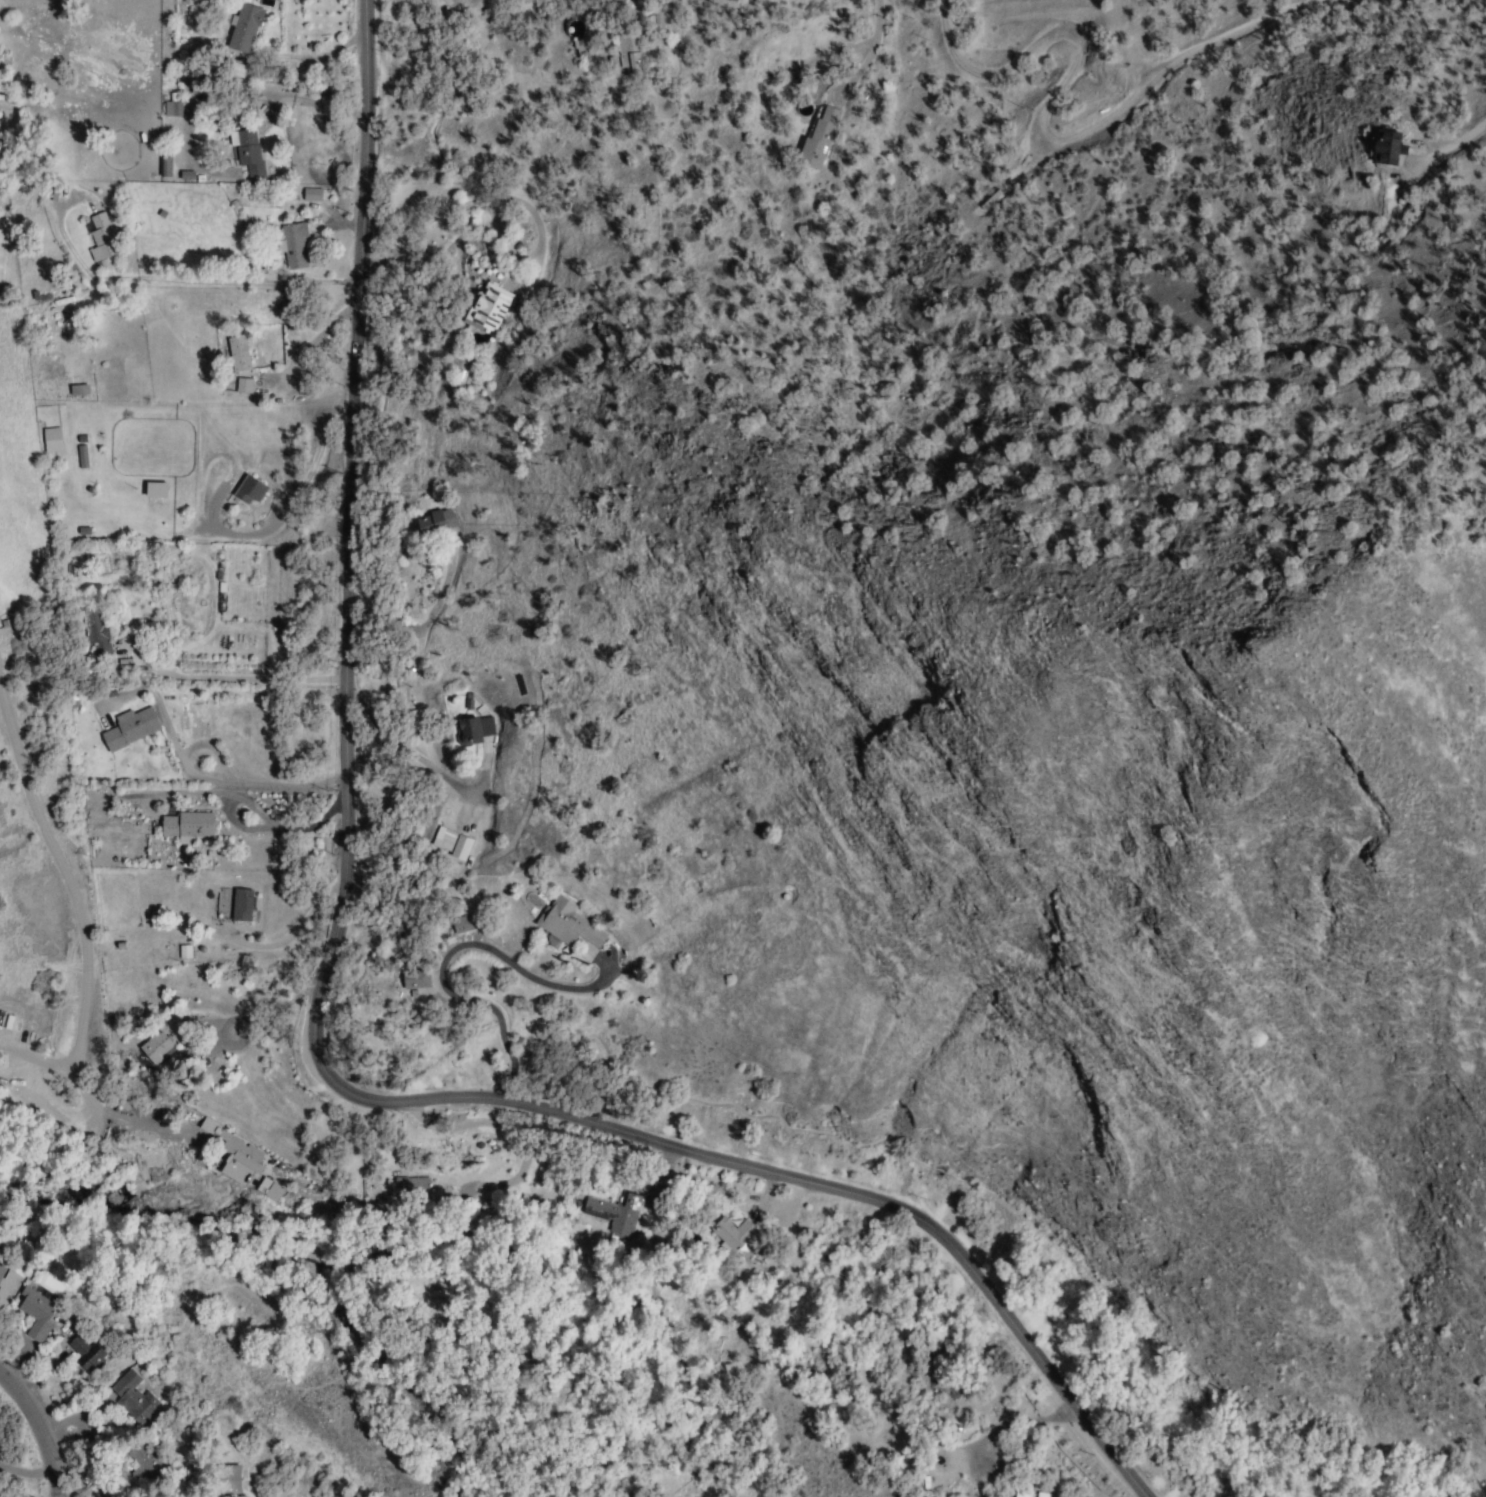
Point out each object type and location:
building: (240, 30)
park: (943, 45)
building: (579, 48)
building: (627, 56)
building: (169, 109)
road: (1072, 136)
road: (1463, 139)
building: (817, 140)
building: (1385, 149)
building: (243, 154)
building: (160, 167)
building: (184, 176)
building: (198, 178)
building: (311, 195)
building: (88, 204)
building: (160, 214)
building: (99, 239)
building: (288, 242)
building: (98, 268)
building: (487, 307)
building: (229, 352)
building: (49, 441)
building: (247, 493)
road: (279, 506)
building: (433, 524)
building: (82, 531)
building: (122, 667)
building: (468, 702)
building: (129, 730)
building: (471, 733)
building: (186, 826)
building: (443, 847)
building: (219, 892)
building: (240, 905)
building: (566, 924)
building: (461, 925)
building: (118, 947)
building: (414, 976)
building: (117, 1013)
road: (311, 1025)
building: (156, 1056)
building: (236, 1154)
building: (412, 1186)
building: (453, 1189)
building: (614, 1211)
building: (730, 1234)
building: (2, 1274)
river: (280, 1277)
building: (34, 1314)
building: (83, 1354)
building: (131, 1398)
road: (32, 1430)
building: (149, 1466)
building: (224, 1479)
building: (1026, 1494)

